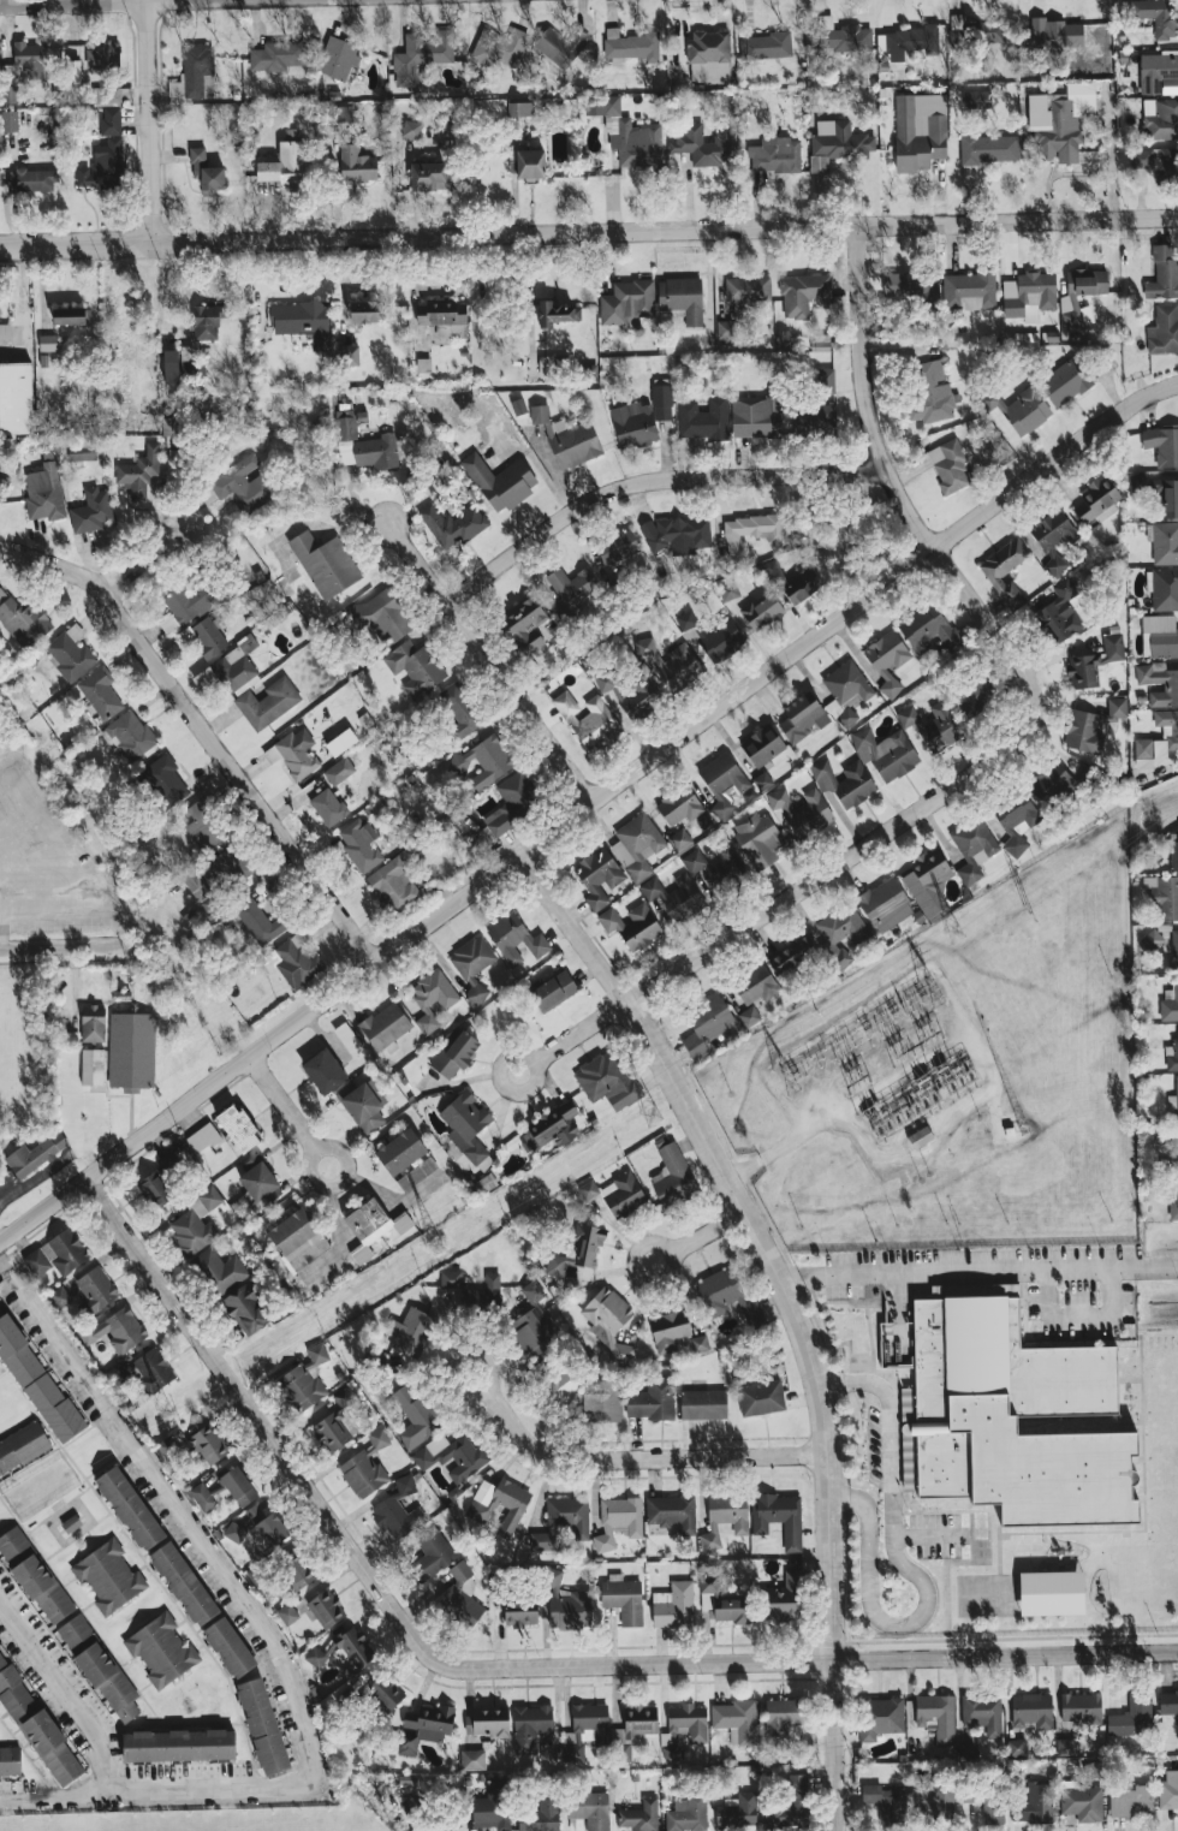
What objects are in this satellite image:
road: (94, 1)
building: (1160, 17)
building: (976, 30)
building: (1055, 34)
building: (841, 36)
building: (911, 42)
building: (561, 44)
building: (631, 44)
building: (766, 44)
building: (499, 47)
building: (422, 54)
building: (103, 55)
building: (276, 55)
building: (338, 58)
building: (22, 69)
building: (73, 70)
building: (195, 71)
building: (1156, 71)
building: (113, 95)
building: (978, 99)
building: (601, 106)
building: (520, 108)
building: (341, 114)
building: (1160, 118)
building: (111, 120)
road: (150, 120)
building: (10, 121)
building: (1060, 121)
building: (411, 129)
building: (920, 131)
building: (637, 144)
building: (704, 144)
building: (837, 144)
building: (986, 153)
building: (775, 155)
building: (1156, 161)
building: (526, 162)
building: (286, 165)
building: (357, 165)
building: (103, 166)
building: (206, 171)
building: (427, 177)
building: (31, 180)
road: (589, 232)
building: (1164, 274)
building: (910, 287)
building: (748, 289)
building: (969, 290)
building: (803, 293)
building: (1029, 296)
building: (683, 298)
road: (22, 301)
building: (1069, 301)
building: (626, 302)
building: (364, 311)
building: (557, 313)
building: (71, 315)
building: (444, 317)
building: (208, 321)
building: (302, 321)
building: (5, 331)
building: (727, 331)
building: (1164, 331)
building: (784, 339)
building: (48, 343)
building: (821, 343)
building: (347, 355)
building: (171, 367)
building: (546, 367)
building: (194, 369)
building: (822, 379)
building: (1065, 382)
building: (930, 394)
building: (16, 398)
building: (662, 398)
building: (518, 406)
building: (1025, 411)
building: (756, 416)
building: (704, 418)
building: (815, 421)
building: (635, 424)
building: (172, 426)
building: (567, 438)
building: (363, 445)
building: (1162, 445)
building: (82, 451)
building: (948, 465)
building: (139, 474)
road: (891, 480)
building: (500, 481)
road: (648, 483)
building: (243, 484)
building: (2, 487)
building: (43, 492)
building: (1158, 492)
building: (1097, 500)
building: (91, 511)
building: (453, 524)
building: (677, 534)
building: (751, 534)
building: (1053, 539)
building: (1165, 543)
building: (617, 546)
road: (144, 561)
building: (326, 564)
building: (1005, 570)
building: (792, 582)
building: (1165, 589)
building: (185, 607)
building: (762, 611)
building: (1059, 613)
building: (381, 614)
building: (23, 619)
building: (524, 628)
building: (928, 629)
building: (1159, 636)
building: (203, 637)
building: (70, 653)
road: (490, 660)
building: (887, 660)
building: (1095, 662)
building: (672, 665)
building: (237, 667)
building: (416, 667)
building: (206, 679)
building: (1170, 688)
building: (846, 691)
building: (100, 692)
building: (972, 695)
building: (638, 697)
building: (268, 703)
building: (459, 708)
building: (802, 717)
building: (589, 721)
building: (932, 725)
building: (1093, 726)
road: (206, 730)
building: (129, 735)
building: (1158, 739)
building: (341, 742)
building: (762, 745)
building: (294, 753)
building: (885, 753)
building: (483, 762)
building: (339, 771)
building: (762, 780)
building: (165, 781)
building: (844, 781)
building: (722, 783)
building: (1051, 784)
building: (513, 802)
building: (679, 805)
building: (328, 807)
road: (584, 808)
building: (801, 812)
building: (1016, 819)
building: (703, 821)
building: (204, 826)
building: (486, 837)
building: (757, 838)
building: (680, 840)
building: (361, 844)
building: (637, 846)
building: (972, 846)
building: (1173, 849)
building: (220, 866)
building: (718, 868)
building: (597, 876)
building: (928, 882)
building: (393, 885)
road: (797, 890)
building: (676, 896)
building: (1165, 896)
building: (885, 905)
power tower: (1030, 912)
building: (260, 922)
building: (632, 926)
building: (844, 926)
building: (516, 939)
building: (1150, 940)
road: (73, 946)
building: (1174, 949)
building: (792, 955)
building: (840, 958)
building: (293, 961)
building: (472, 965)
building: (755, 985)
building: (553, 989)
power tower: (932, 995)
building: (432, 998)
building: (1170, 1004)
building: (93, 1024)
building: (385, 1027)
building: (707, 1027)
building: (349, 1039)
building: (132, 1051)
building: (454, 1053)
building: (1172, 1054)
road: (534, 1064)
building: (93, 1068)
power substation: (887, 1069)
building: (323, 1071)
power tower: (795, 1074)
building: (608, 1082)
building: (1177, 1093)
road: (280, 1104)
building: (362, 1105)
power tower: (661, 1117)
building: (239, 1128)
building: (468, 1128)
building: (552, 1128)
building: (203, 1137)
building: (920, 1137)
road: (313, 1148)
building: (400, 1152)
building: (35, 1154)
road: (766, 1158)
building: (174, 1159)
building: (417, 1173)
building: (672, 1176)
building: (257, 1178)
building: (155, 1190)
building: (615, 1194)
building: (1173, 1208)
building: (196, 1221)
building: (373, 1227)
road: (707, 1232)
building: (298, 1241)
power tower: (436, 1249)
building: (577, 1250)
building: (56, 1254)
road: (670, 1255)
building: (220, 1270)
road: (980, 1271)
building: (452, 1280)
building: (95, 1290)
building: (533, 1291)
building: (60, 1297)
building: (727, 1298)
building: (246, 1308)
road: (793, 1308)
road: (1081, 1318)
building: (609, 1324)
building: (115, 1330)
building: (668, 1330)
building: (534, 1331)
building: (411, 1332)
building: (698, 1344)
building: (17, 1353)
road: (463, 1355)
building: (151, 1371)
building: (118, 1375)
building: (305, 1380)
building: (560, 1389)
building: (761, 1397)
building: (653, 1399)
building: (602, 1402)
building: (703, 1404)
building: (54, 1408)
power tower: (166, 1410)
building: (415, 1416)
building: (1009, 1420)
road: (261, 1422)
building: (334, 1423)
building: (208, 1444)
building: (167, 1446)
building: (23, 1447)
building: (452, 1456)
road: (643, 1458)
building: (365, 1467)
building: (234, 1487)
building: (202, 1497)
building: (130, 1508)
building: (398, 1510)
building: (478, 1511)
building: (672, 1512)
building: (725, 1517)
building: (779, 1517)
building: (618, 1521)
building: (563, 1522)
building: (257, 1527)
road: (126, 1534)
building: (430, 1553)
building: (297, 1569)
road: (906, 1570)
building: (460, 1571)
building: (34, 1575)
building: (109, 1576)
building: (184, 1583)
road: (243, 1594)
building: (1046, 1595)
building: (783, 1598)
building: (623, 1599)
building: (722, 1603)
building: (463, 1604)
building: (567, 1604)
building: (674, 1605)
building: (326, 1609)
building: (287, 1613)
building: (520, 1617)
road: (105, 1642)
building: (228, 1647)
building: (351, 1647)
building: (162, 1651)
building: (315, 1657)
building: (2, 1661)
road: (807, 1661)
building: (100, 1669)
building: (385, 1693)
road: (64, 1694)
building: (1168, 1702)
building: (1082, 1707)
building: (1033, 1710)
building: (982, 1712)
building: (1132, 1714)
building: (880, 1717)
building: (936, 1717)
building: (641, 1719)
building: (783, 1719)
building: (737, 1720)
building: (487, 1722)
building: (263, 1725)
building: (37, 1726)
building: (424, 1726)
building: (530, 1726)
building: (587, 1728)
building: (683, 1729)
building: (179, 1746)
building: (1016, 1747)
building: (1065, 1747)
road: (250, 1753)
building: (472, 1759)
building: (10, 1762)
road: (59, 1790)
building: (1168, 1790)
building: (969, 1793)
building: (933, 1797)
building: (1131, 1801)
building: (1036, 1803)
building: (1082, 1803)
building: (886, 1805)
building: (493, 1807)
building: (791, 1807)
building: (993, 1809)
building: (738, 1812)
building: (686, 1814)
building: (641, 1815)
building: (541, 1817)
building: (438, 1826)

